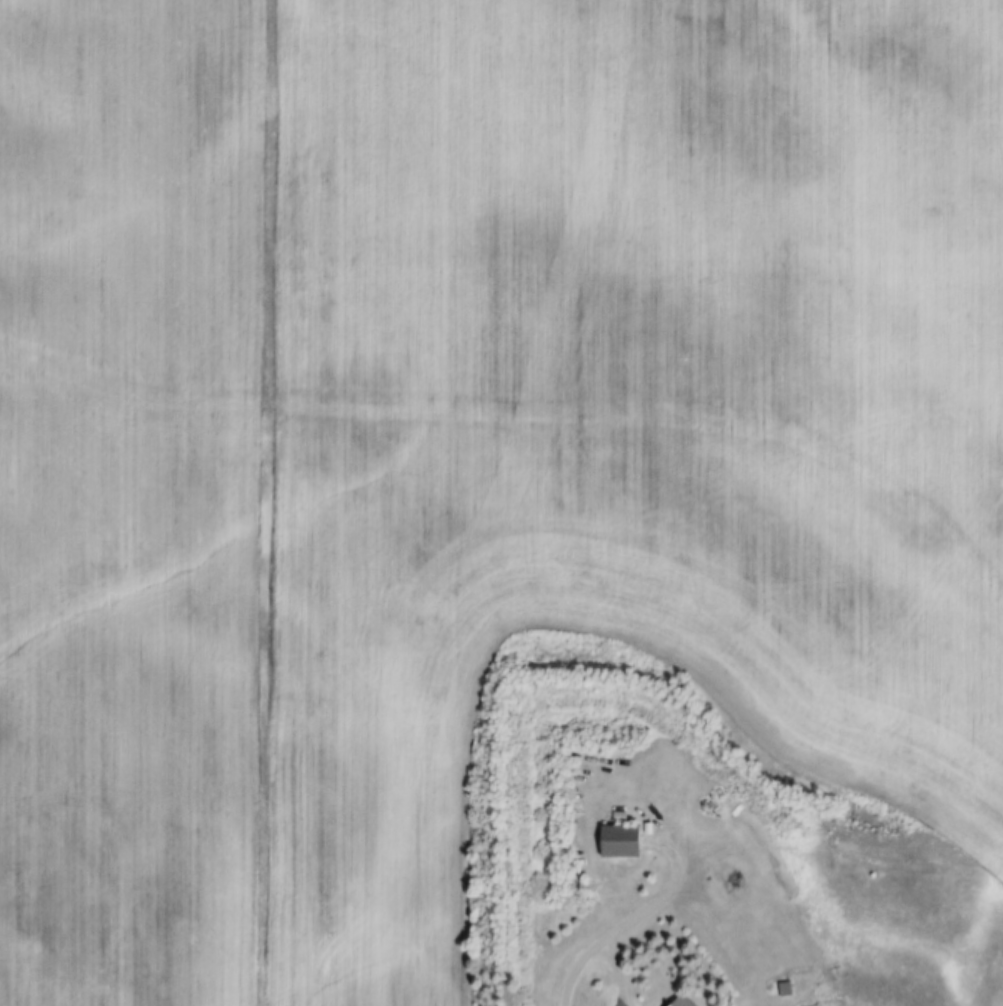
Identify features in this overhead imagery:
building: (622, 842)
road: (635, 920)
road: (611, 970)
road: (616, 1001)
building: (684, 1002)

